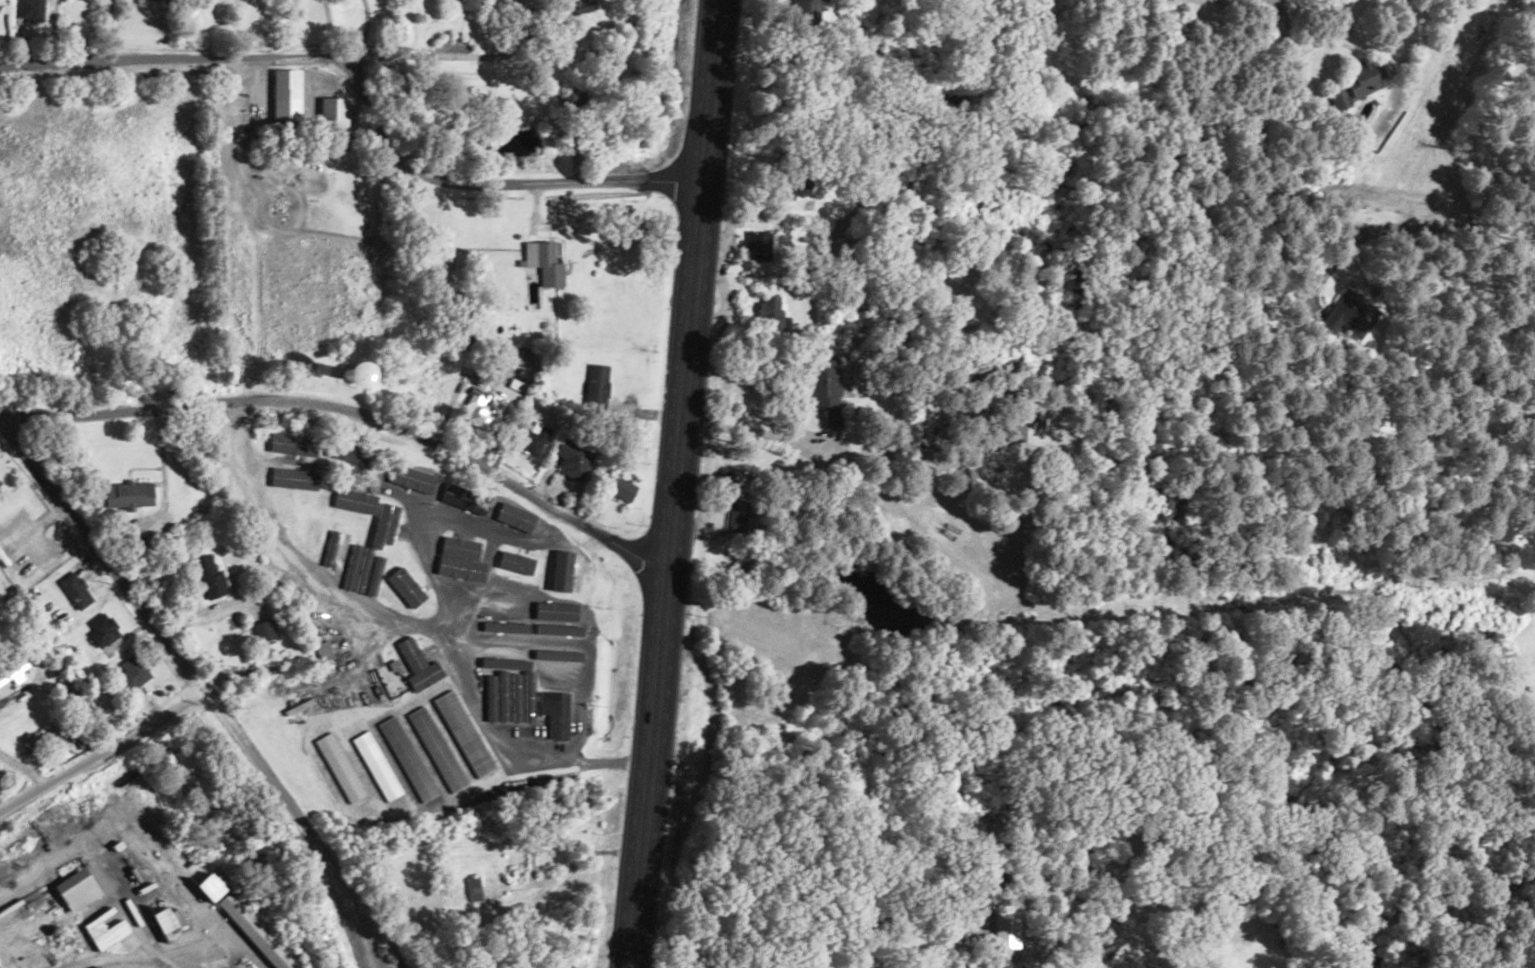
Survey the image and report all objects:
building: (463, 5)
building: (580, 6)
road: (283, 56)
building: (1356, 83)
building: (285, 93)
building: (333, 113)
building: (792, 181)
road: (486, 182)
building: (542, 263)
building: (767, 309)
building: (1348, 314)
building: (342, 378)
building: (433, 387)
building: (825, 388)
road: (351, 412)
building: (481, 412)
building: (281, 417)
building: (351, 431)
building: (532, 438)
building: (284, 444)
building: (341, 453)
building: (571, 458)
building: (413, 477)
building: (967, 477)
building: (295, 481)
road: (672, 484)
building: (620, 487)
building: (126, 494)
building: (352, 498)
building: (461, 498)
building: (273, 504)
building: (504, 513)
building: (737, 514)
building: (385, 524)
building: (313, 526)
building: (338, 526)
building: (357, 531)
building: (553, 539)
building: (460, 542)
building: (268, 551)
road: (292, 555)
building: (501, 557)
building: (208, 578)
building: (394, 586)
building: (465, 588)
building: (75, 590)
building: (302, 594)
building: (102, 629)
building: (263, 631)
building: (500, 637)
building: (558, 665)
building: (424, 666)
building: (133, 670)
building: (507, 686)
road: (200, 688)
building: (321, 709)
building: (556, 715)
building: (464, 734)
building: (45, 737)
road: (101, 753)
building: (423, 757)
building: (353, 761)
building: (1, 773)
building: (368, 807)
building: (520, 866)
building: (988, 879)
building: (76, 890)
building: (165, 919)
building: (952, 921)
building: (253, 931)
building: (949, 942)

